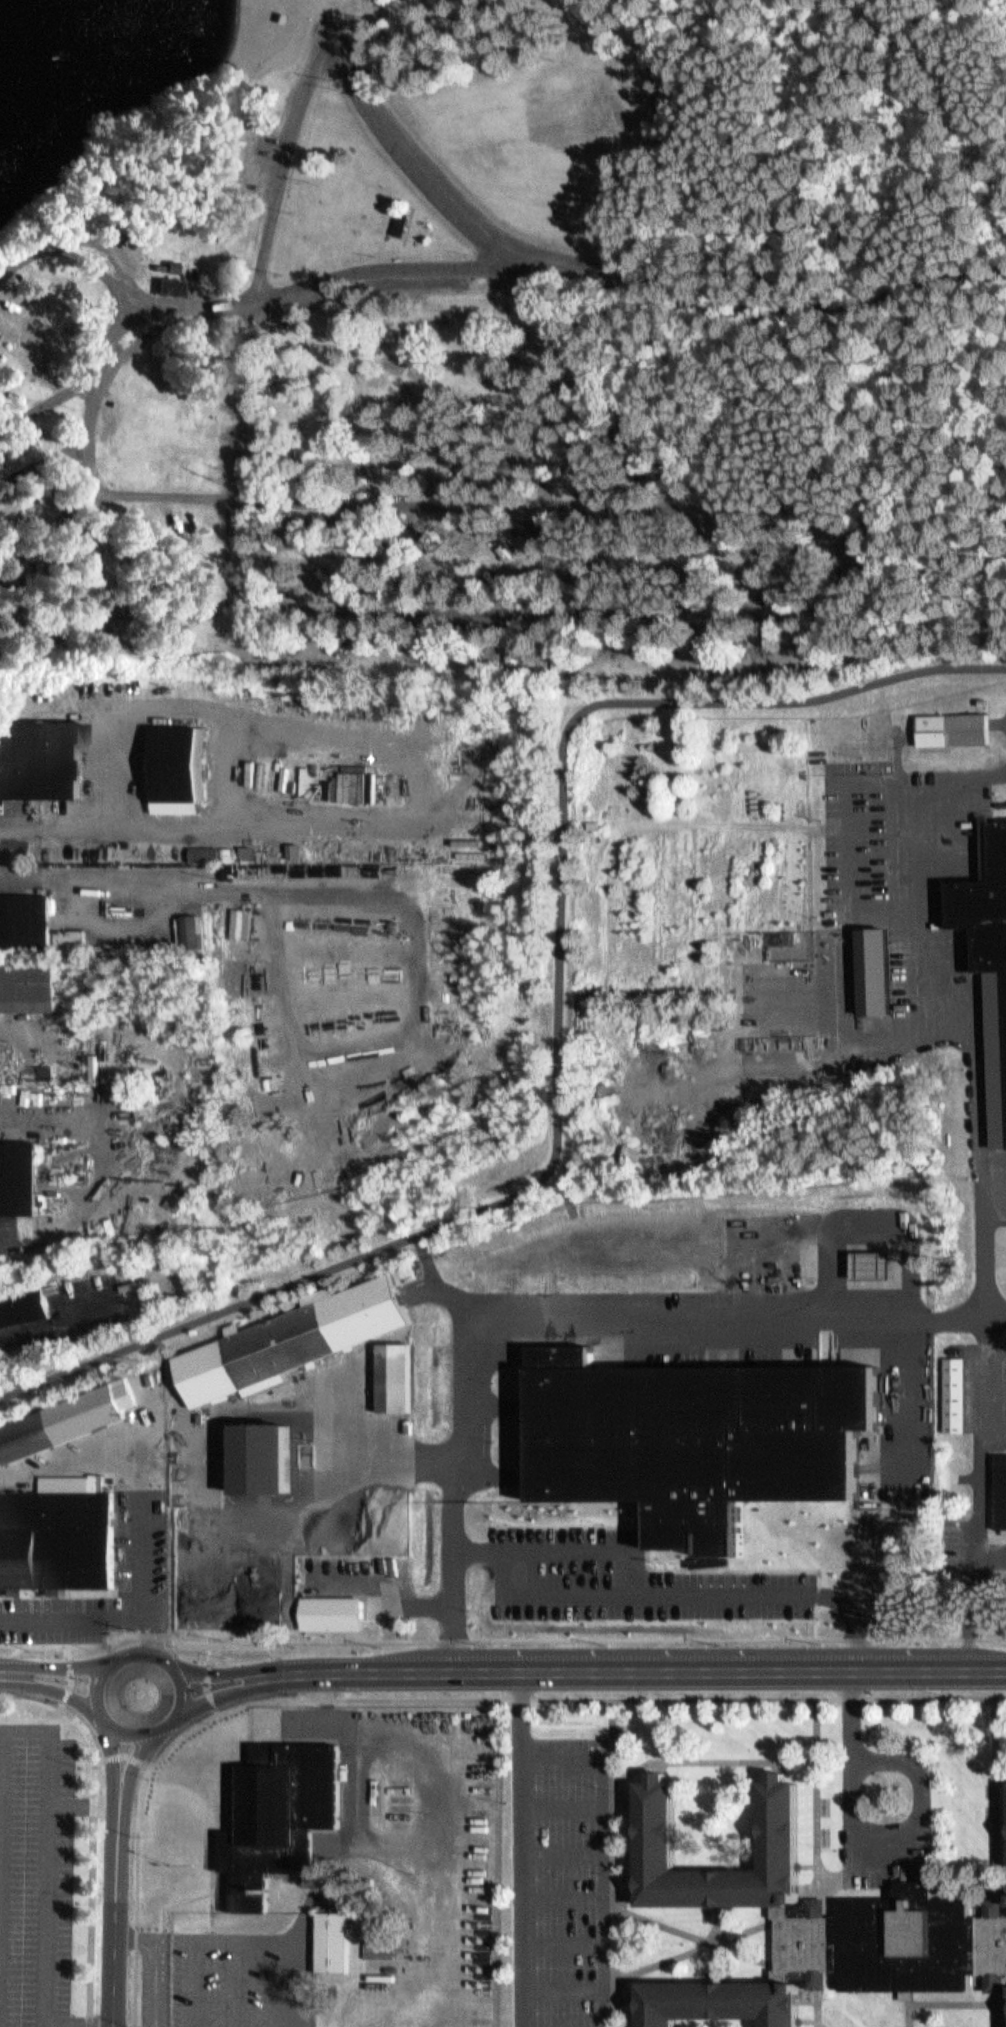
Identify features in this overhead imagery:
building: (570, 57)
road: (944, 112)
park: (531, 145)
road: (644, 148)
road: (411, 162)
road: (284, 165)
building: (405, 224)
road: (95, 250)
building: (166, 279)
building: (171, 286)
road: (628, 291)
road: (217, 302)
road: (123, 321)
park: (519, 349)
road: (54, 397)
road: (41, 462)
road: (805, 505)
building: (541, 527)
road: (53, 533)
building: (954, 731)
road: (567, 743)
building: (39, 754)
building: (182, 759)
road: (839, 783)
road: (848, 813)
parking lot: (896, 841)
building: (249, 860)
building: (986, 906)
building: (27, 915)
building: (446, 917)
building: (868, 964)
building: (32, 984)
road: (978, 1028)
building: (275, 1068)
building: (19, 1175)
road: (257, 1299)
building: (23, 1308)
road: (544, 1309)
building: (292, 1343)
building: (397, 1377)
building: (955, 1393)
building: (62, 1415)
building: (699, 1433)
building: (275, 1435)
building: (398, 1474)
building: (1000, 1492)
building: (58, 1530)
road: (140, 1530)
building: (997, 1540)
road: (560, 1546)
building: (761, 1557)
parking lot: (624, 1575)
road: (686, 1589)
parking lot: (57, 1595)
building: (331, 1610)
road: (147, 1627)
road: (146, 1631)
road: (721, 1633)
road: (69, 1638)
road: (296, 1638)
road: (141, 1645)
road: (58, 1660)
road: (227, 1665)
road: (648, 1668)
road: (70, 1672)
road: (201, 1673)
road: (95, 1676)
road: (53, 1684)
road: (224, 1685)
road: (177, 1687)
road: (24, 1692)
road: (573, 1694)
road: (514, 1704)
road: (822, 1707)
road: (32, 1728)
road: (130, 1728)
building: (619, 1736)
road: (122, 1750)
road: (111, 1755)
road: (135, 1756)
road: (711, 1761)
road: (781, 1765)
road: (661, 1767)
road: (1000, 1777)
road: (817, 1797)
road: (562, 1799)
road: (995, 1801)
road: (348, 1803)
road: (88, 1806)
building: (279, 1812)
building: (784, 1824)
road: (561, 1848)
road: (602, 1850)
road: (95, 1851)
road: (868, 1856)
road: (611, 1861)
road: (809, 1866)
road: (1001, 1866)
parking lot: (37, 1874)
parking lot: (558, 1880)
road: (521, 1882)
road: (139, 1885)
road: (809, 1891)
road: (1001, 1891)
road: (561, 1893)
road: (627, 1896)
road: (118, 1913)
road: (246, 1933)
building: (332, 1937)
road: (561, 1937)
road: (694, 1937)
building: (892, 1941)
road: (714, 1943)
road: (695, 1950)
road: (162, 1957)
building: (378, 1968)
parking lot: (161, 1974)
parking lot: (243, 1974)
road: (245, 1980)
road: (293, 1980)
road: (202, 1981)
road: (561, 1982)
road: (906, 1997)
road: (810, 1998)
road: (1000, 1998)
road: (627, 1999)
building: (721, 2002)
road: (818, 2004)
road: (938, 2004)
road: (994, 2016)
road: (810, 2024)
road: (85, 2025)
road: (819, 2025)
road: (1000, 2026)

